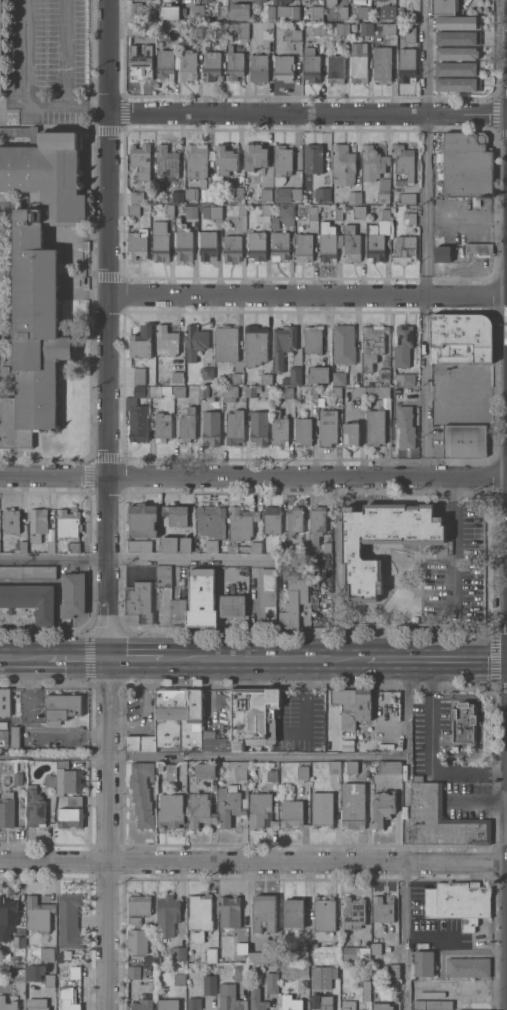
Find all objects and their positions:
building: (259, 0)
building: (302, 1)
building: (283, 2)
building: (329, 2)
building: (444, 6)
building: (182, 10)
building: (197, 10)
building: (239, 10)
building: (135, 11)
building: (287, 11)
building: (169, 12)
building: (271, 12)
building: (316, 12)
building: (341, 12)
building: (363, 12)
building: (221, 13)
building: (389, 13)
building: (254, 18)
building: (457, 22)
building: (138, 28)
building: (386, 28)
building: (319, 29)
building: (341, 29)
building: (354, 29)
building: (366, 29)
building: (241, 30)
building: (182, 32)
building: (222, 32)
building: (409, 32)
building: (195, 33)
building: (293, 34)
building: (457, 37)
building: (159, 43)
building: (1, 48)
building: (456, 53)
building: (358, 62)
building: (141, 63)
building: (164, 63)
building: (211, 64)
building: (381, 64)
building: (187, 65)
building: (234, 65)
building: (310, 65)
building: (406, 65)
building: (258, 67)
building: (283, 67)
building: (335, 68)
building: (458, 68)
building: (9, 82)
building: (457, 84)
road: (83, 104)
road: (42, 105)
road: (306, 115)
building: (21, 133)
building: (140, 156)
building: (254, 156)
building: (225, 159)
building: (312, 159)
building: (166, 161)
building: (403, 162)
building: (196, 163)
building: (372, 163)
building: (282, 164)
building: (466, 164)
building: (342, 165)
building: (383, 190)
building: (334, 192)
building: (191, 193)
building: (236, 193)
building: (265, 193)
building: (324, 193)
building: (285, 194)
building: (177, 195)
building: (344, 195)
building: (136, 197)
building: (354, 197)
building: (406, 198)
building: (338, 199)
building: (475, 201)
building: (133, 209)
building: (169, 209)
building: (237, 209)
building: (392, 210)
building: (189, 211)
building: (211, 211)
building: (358, 211)
building: (312, 213)
building: (263, 214)
building: (285, 214)
building: (337, 214)
building: (385, 214)
building: (409, 218)
building: (379, 227)
road: (427, 237)
building: (159, 241)
building: (183, 241)
building: (328, 241)
building: (137, 243)
building: (351, 244)
building: (280, 245)
building: (207, 246)
building: (256, 246)
building: (232, 247)
building: (304, 247)
building: (375, 247)
building: (404, 248)
building: (479, 248)
building: (442, 253)
building: (38, 277)
road: (306, 298)
road: (105, 329)
building: (461, 330)
building: (313, 338)
building: (166, 341)
building: (194, 341)
building: (141, 342)
building: (343, 343)
building: (282, 344)
building: (225, 345)
building: (254, 345)
building: (402, 345)
building: (371, 346)
building: (462, 354)
building: (207, 373)
building: (383, 373)
building: (318, 374)
building: (139, 375)
building: (295, 375)
building: (174, 376)
building: (236, 378)
building: (265, 378)
building: (345, 378)
building: (404, 378)
building: (159, 390)
building: (203, 390)
building: (252, 390)
building: (179, 391)
building: (336, 391)
building: (382, 391)
building: (229, 392)
building: (286, 392)
building: (314, 392)
building: (355, 396)
road: (471, 399)
building: (137, 415)
building: (187, 424)
building: (161, 426)
building: (375, 426)
building: (404, 426)
building: (234, 427)
building: (258, 427)
building: (327, 427)
building: (210, 428)
building: (278, 429)
building: (303, 431)
building: (350, 434)
building: (464, 441)
road: (253, 474)
road: (453, 488)
building: (176, 514)
building: (272, 519)
building: (10, 520)
building: (294, 520)
building: (210, 521)
building: (68, 523)
building: (316, 524)
building: (141, 526)
building: (42, 529)
building: (243, 530)
building: (380, 540)
building: (168, 544)
building: (185, 544)
building: (22, 546)
building: (211, 546)
building: (281, 546)
building: (73, 547)
building: (304, 547)
building: (326, 547)
building: (16, 550)
road: (453, 557)
road: (53, 558)
road: (193, 558)
building: (27, 571)
building: (161, 576)
building: (72, 594)
building: (201, 597)
building: (267, 597)
building: (294, 598)
building: (30, 600)
building: (138, 604)
building: (231, 606)
building: (178, 612)
road: (24, 657)
road: (78, 658)
road: (136, 658)
road: (264, 658)
road: (436, 659)
road: (306, 674)
road: (431, 680)
building: (380, 701)
building: (4, 702)
building: (363, 704)
building: (345, 706)
building: (61, 707)
building: (253, 715)
building: (463, 722)
building: (178, 724)
building: (3, 725)
road: (305, 725)
building: (15, 737)
building: (3, 738)
road: (431, 738)
building: (454, 748)
road: (202, 755)
building: (62, 763)
building: (334, 766)
building: (351, 767)
building: (388, 767)
building: (204, 770)
building: (240, 771)
building: (170, 772)
building: (302, 772)
building: (271, 775)
road: (469, 775)
building: (17, 778)
building: (416, 778)
building: (49, 780)
building: (68, 781)
building: (141, 792)
building: (75, 800)
building: (230, 804)
building: (352, 805)
building: (34, 807)
building: (382, 808)
building: (6, 809)
building: (321, 809)
building: (169, 810)
building: (199, 810)
building: (260, 811)
building: (290, 812)
building: (70, 817)
building: (441, 820)
road: (105, 833)
road: (405, 834)
road: (253, 866)
building: (457, 902)
building: (139, 904)
building: (382, 909)
building: (229, 911)
building: (263, 912)
building: (352, 912)
building: (293, 913)
building: (37, 914)
building: (323, 914)
building: (166, 915)
building: (7, 916)
building: (199, 916)
building: (68, 920)
building: (134, 922)
building: (137, 941)
building: (365, 941)
building: (18, 942)
building: (241, 948)
building: (324, 948)
building: (375, 948)
building: (355, 952)
building: (46, 953)
building: (177, 953)
building: (66, 954)
building: (210, 955)
building: (261, 956)
building: (282, 956)
building: (298, 956)
building: (58, 958)
building: (148, 959)
building: (423, 963)
building: (467, 967)
building: (292, 970)
building: (34, 971)
building: (73, 971)
building: (133, 971)
building: (392, 971)
building: (17, 972)
building: (239, 973)
building: (49, 976)
building: (322, 976)
building: (179, 979)
building: (271, 982)
building: (209, 985)
building: (149, 987)
building: (365, 991)
building: (67, 998)
building: (230, 998)
building: (256, 1000)
building: (320, 1002)
building: (193, 1003)
building: (290, 1003)
building: (7, 1004)
building: (36, 1004)
building: (167, 1004)
building: (141, 1005)
building: (347, 1005)
building: (431, 1005)
building: (382, 1006)
building: (484, 1009)

